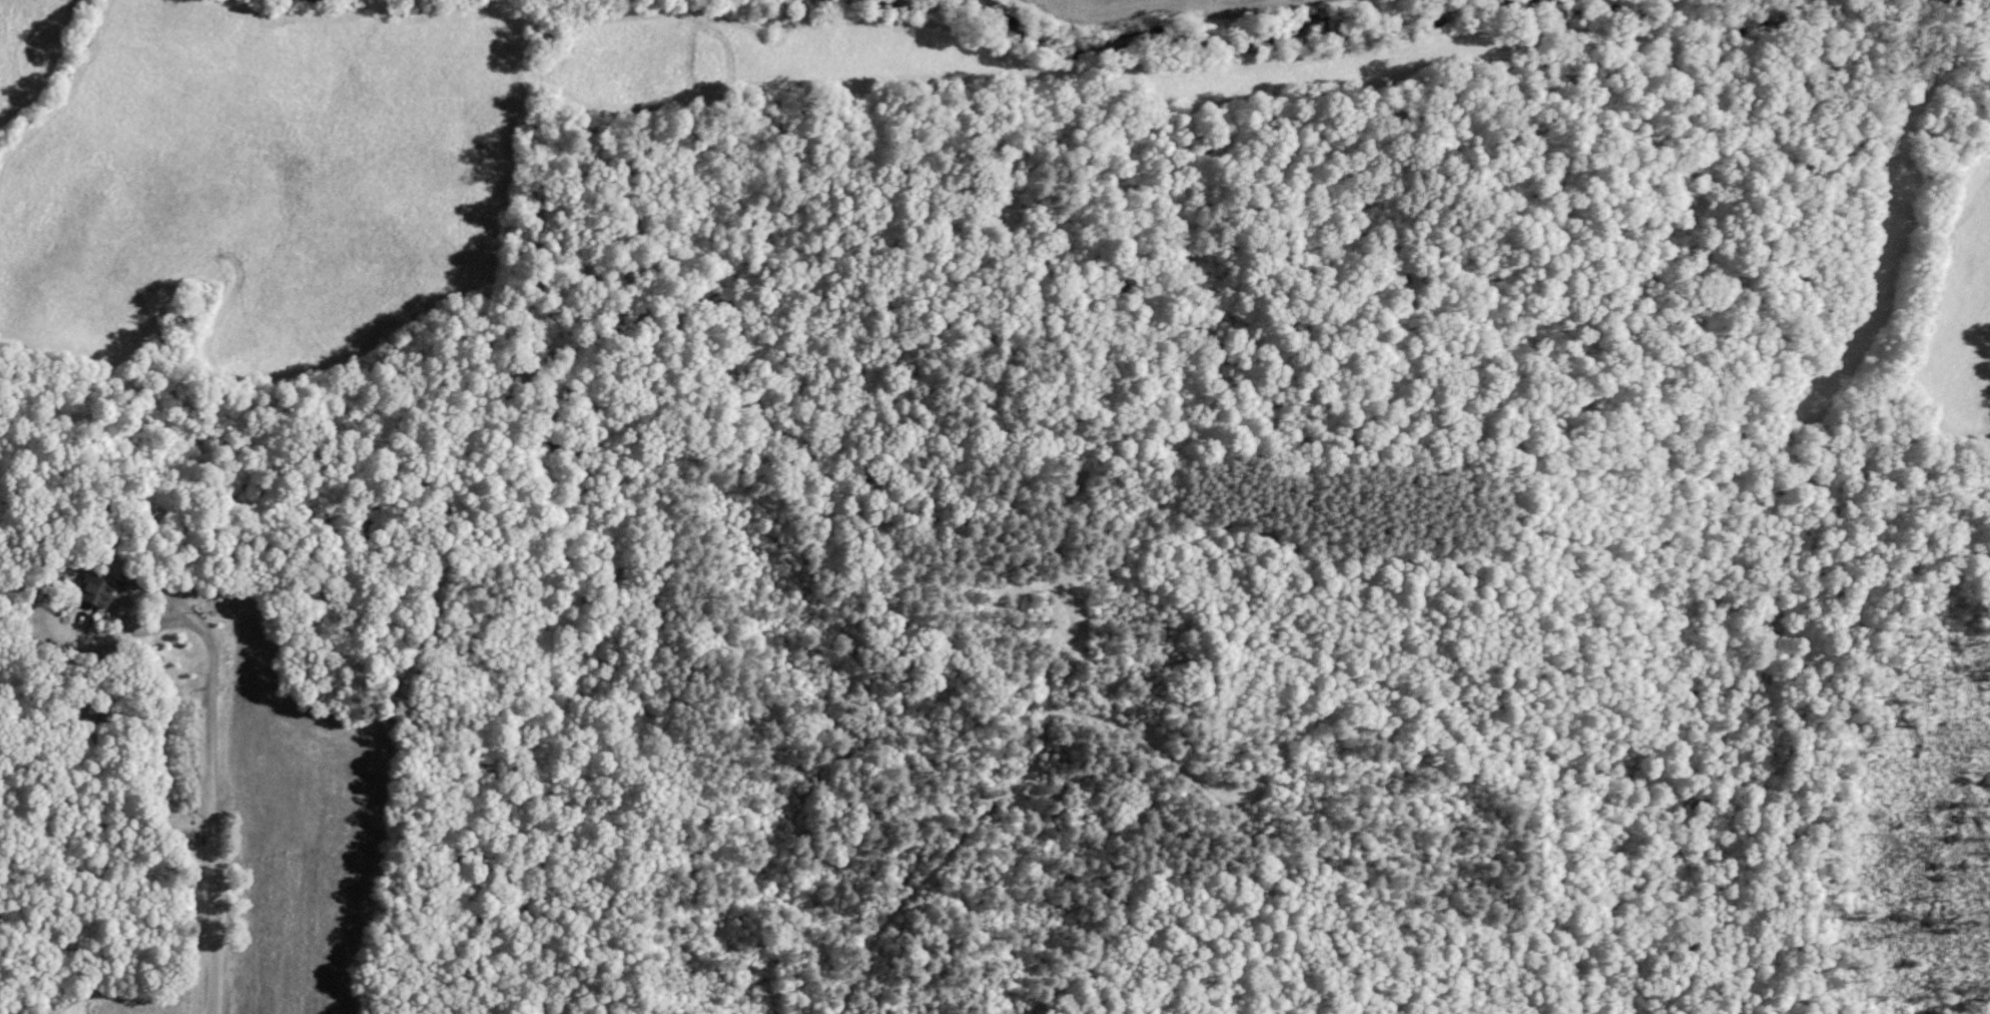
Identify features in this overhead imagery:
building: (91, 592)

